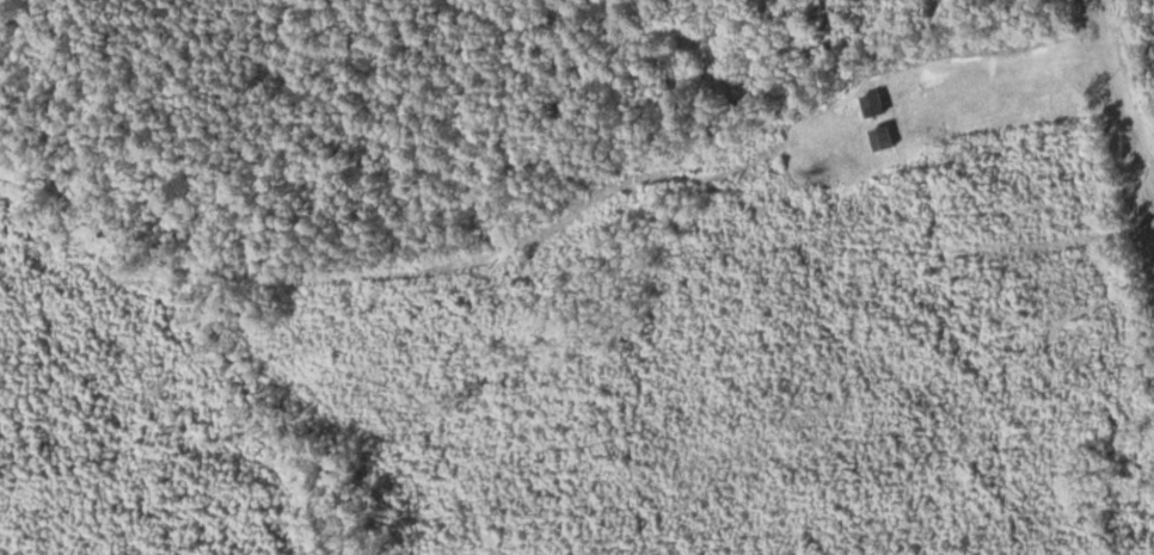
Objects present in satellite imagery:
building: (725, 74)
road: (1122, 109)

